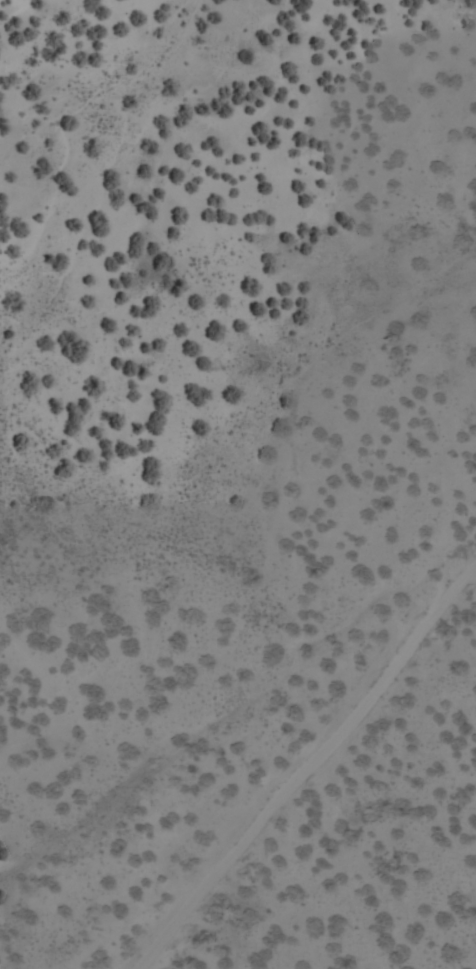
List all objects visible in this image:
road: (247, 770)

